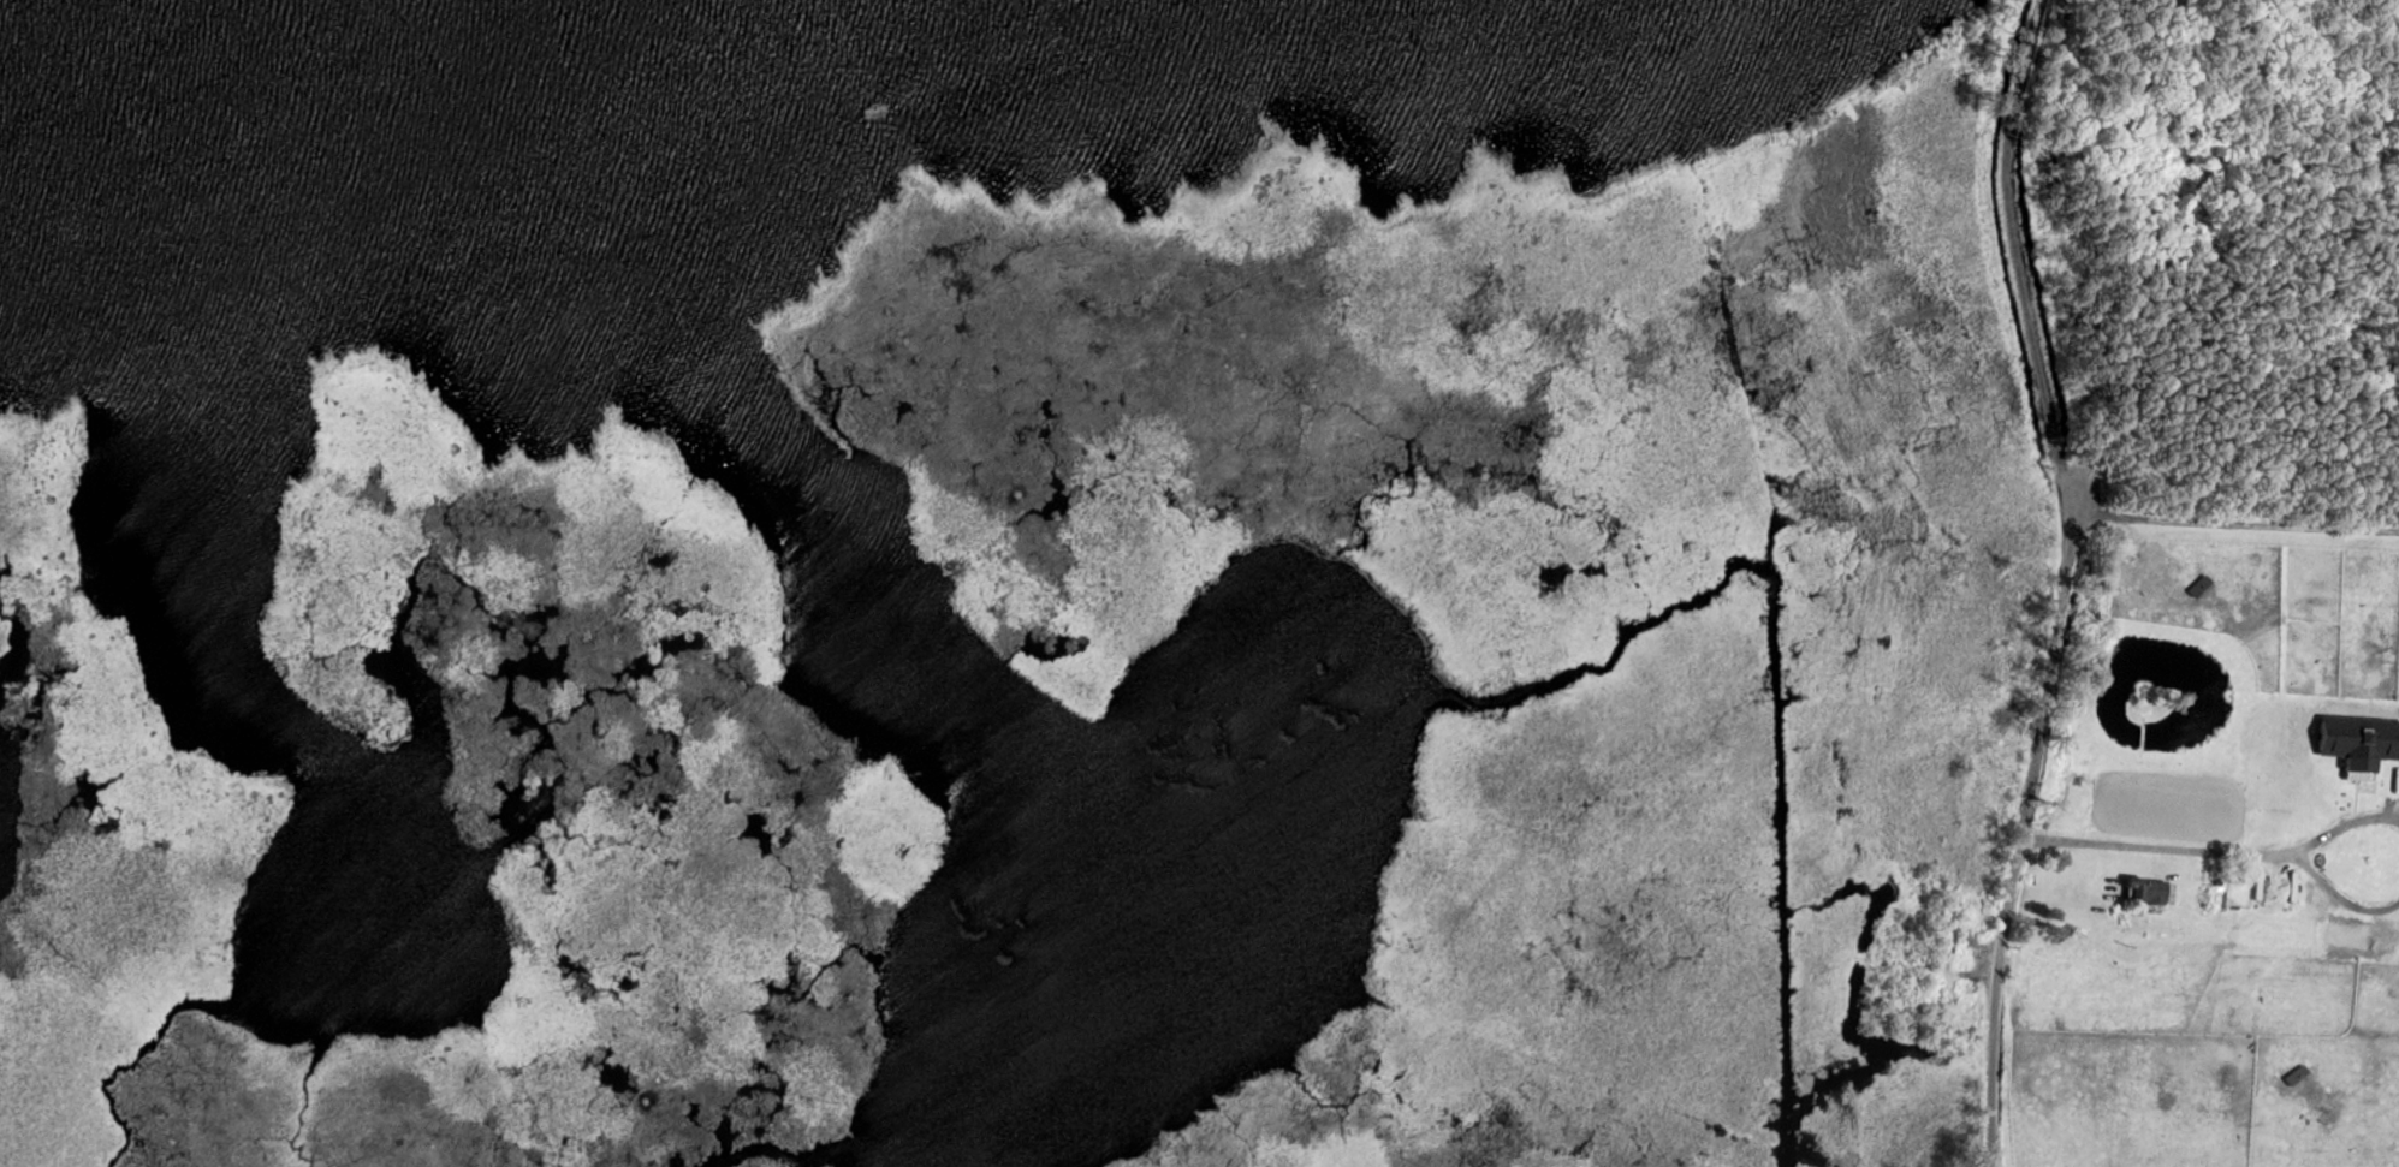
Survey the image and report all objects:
road: (2015, 252)
road: (2237, 526)
building: (2357, 742)
road: (2341, 827)
road: (2020, 834)
road: (2156, 850)
building: (2146, 888)
building: (2203, 893)
road: (2340, 899)

